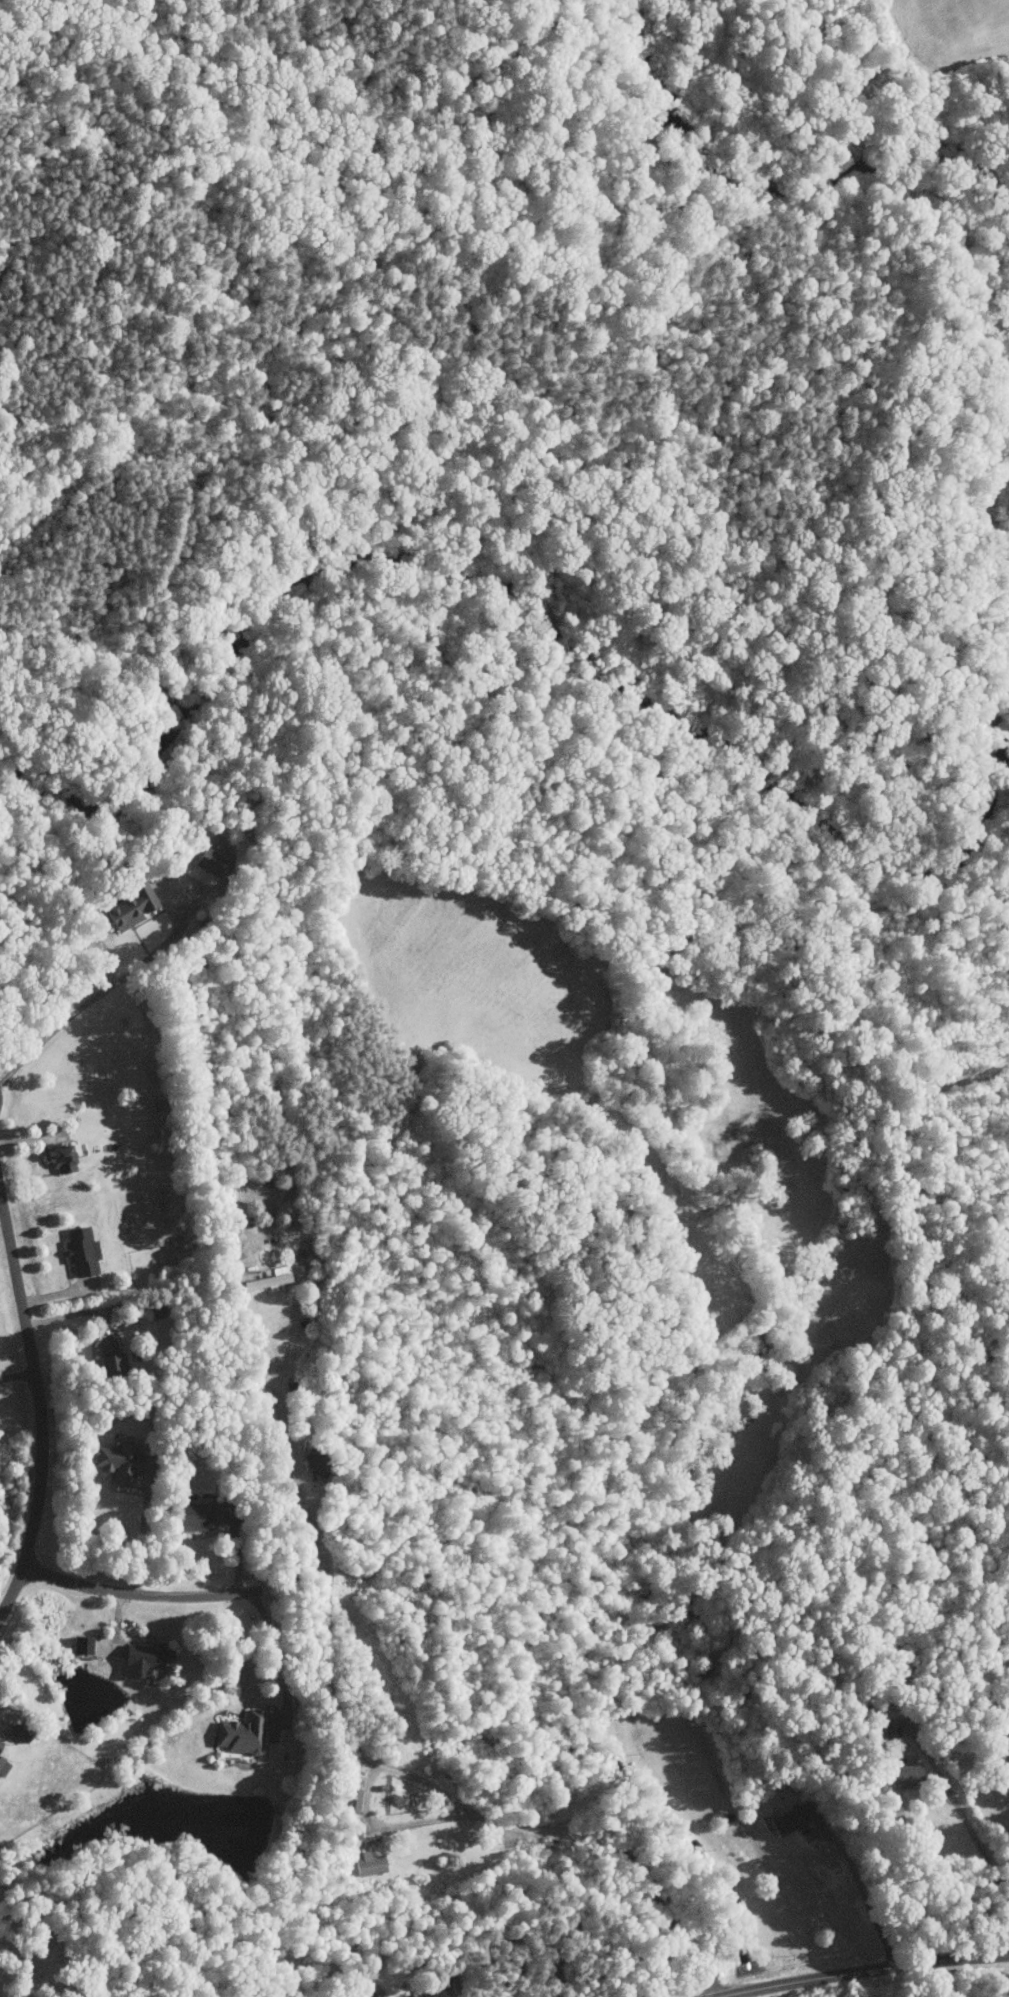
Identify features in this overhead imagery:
building: (208, 861)
building: (126, 905)
road: (96, 996)
road: (1, 1210)
building: (78, 1251)
building: (264, 1281)
road: (70, 1315)
building: (104, 1355)
road: (16, 1377)
road: (38, 1412)
road: (284, 1428)
building: (112, 1462)
building: (308, 1463)
building: (196, 1516)
road: (142, 1540)
road: (138, 1599)
building: (78, 1645)
building: (141, 1659)
road: (281, 1659)
building: (237, 1734)
building: (1, 1767)
building: (903, 1773)
road: (365, 1794)
building: (349, 1801)
road: (963, 1815)
building: (788, 1820)
building: (349, 1830)
road: (627, 1861)
building: (367, 1865)
road: (867, 1899)
road: (867, 1973)

